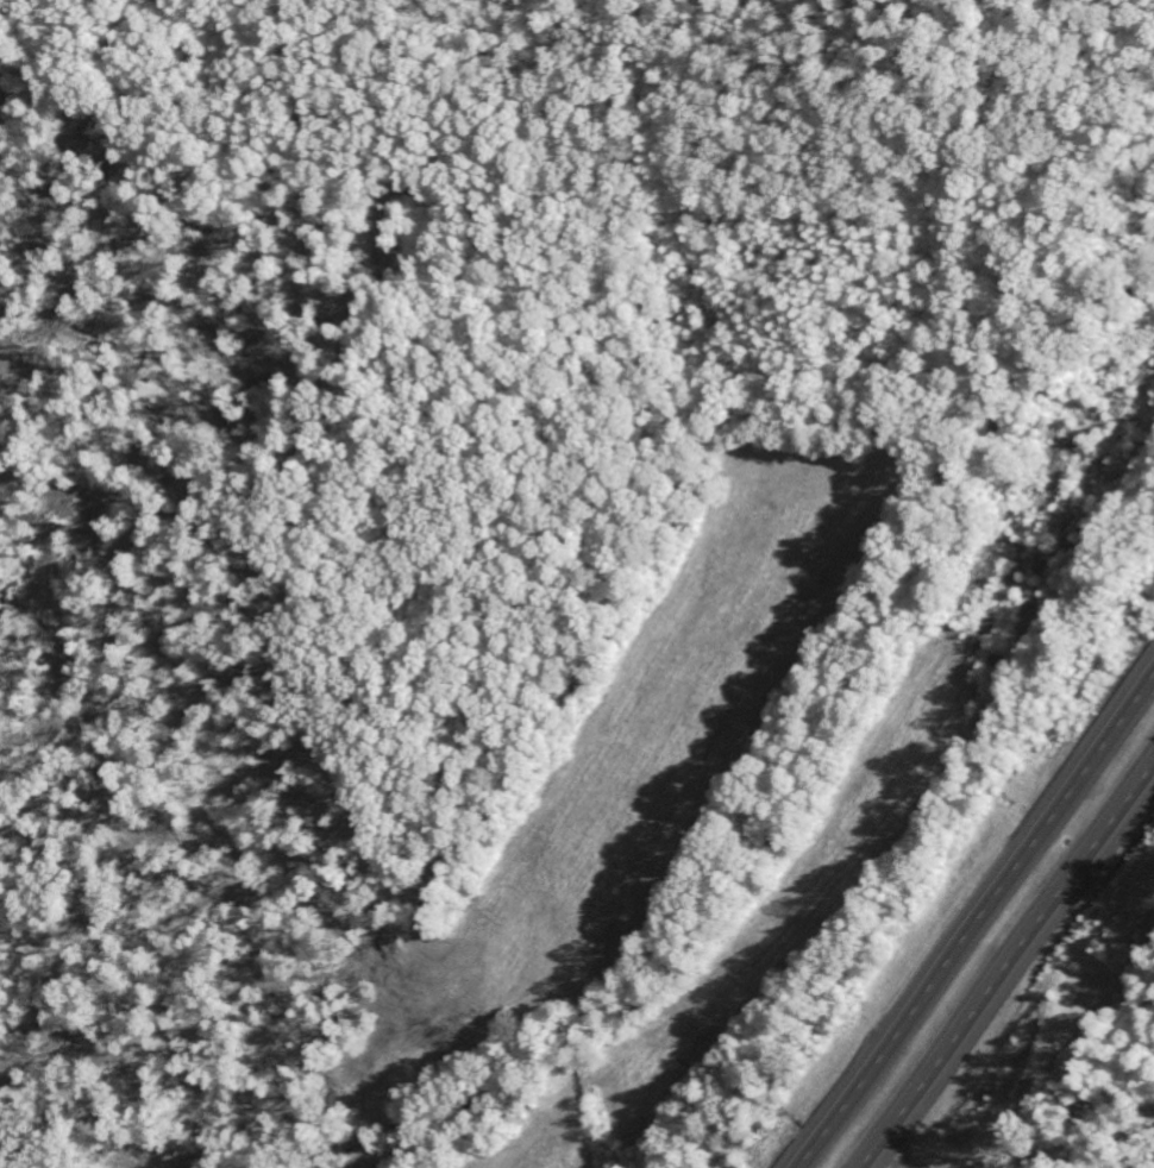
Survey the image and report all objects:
road: (978, 925)
road: (1006, 963)

